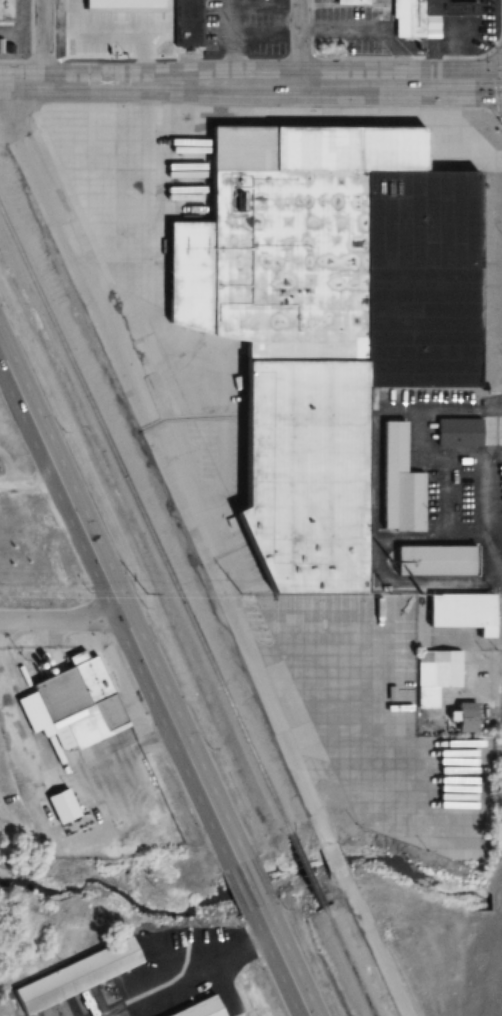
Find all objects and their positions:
building: (348, 2)
building: (5, 11)
building: (412, 21)
building: (186, 23)
road: (311, 27)
road: (301, 41)
road: (45, 42)
road: (209, 47)
road: (231, 49)
road: (132, 54)
road: (395, 56)
road: (497, 71)
road: (250, 83)
road: (483, 107)
building: (323, 319)
building: (456, 432)
road: (165, 464)
building: (399, 484)
road: (32, 486)
railway: (142, 520)
building: (432, 560)
road: (117, 599)
building: (460, 612)
building: (435, 675)
building: (71, 705)
building: (464, 717)
building: (76, 820)
road: (334, 856)
railway: (302, 869)
road: (251, 883)
road: (375, 946)
road: (286, 961)
railway: (345, 961)
building: (74, 976)
building: (199, 1009)

